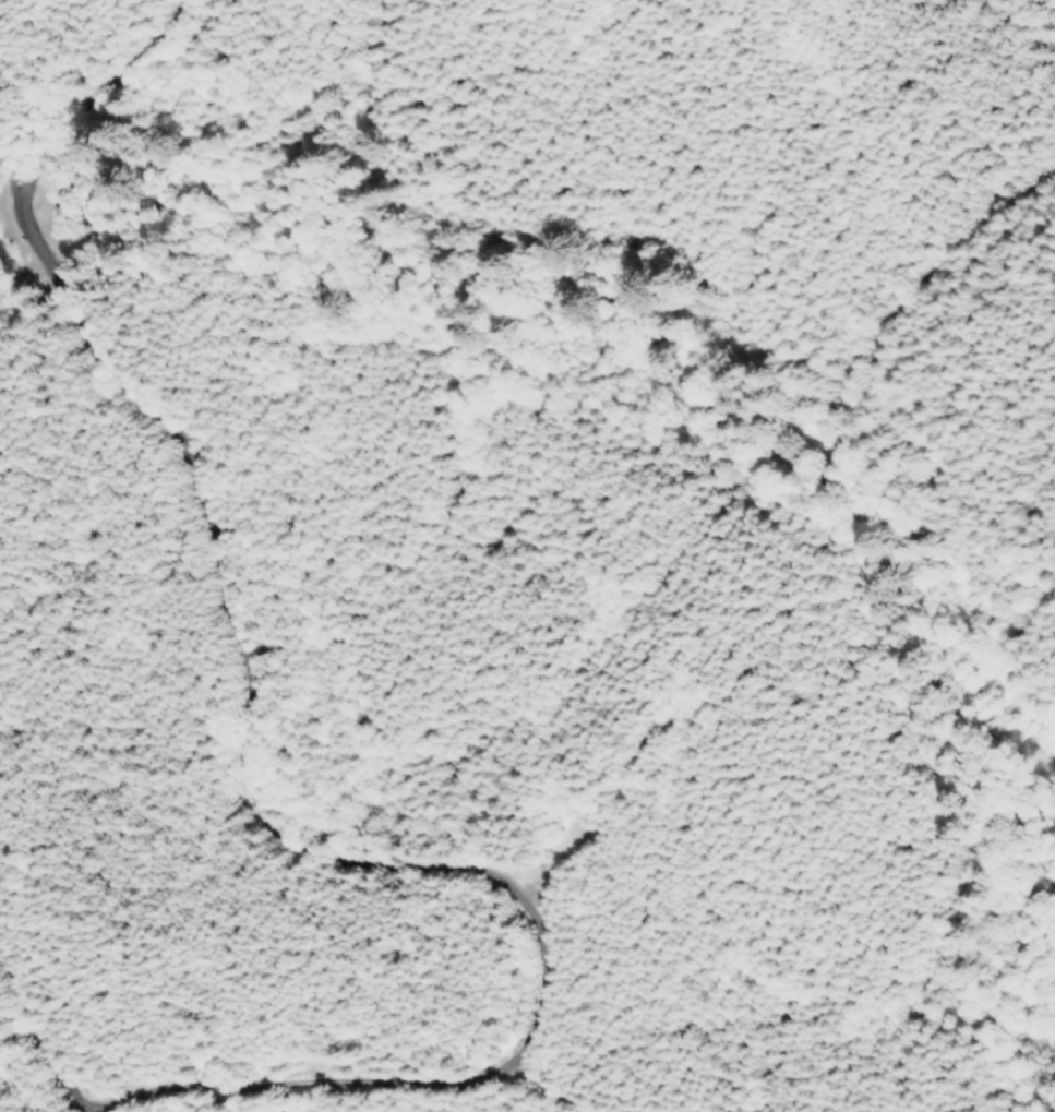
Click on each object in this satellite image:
road: (264, 692)
road: (28, 1071)

